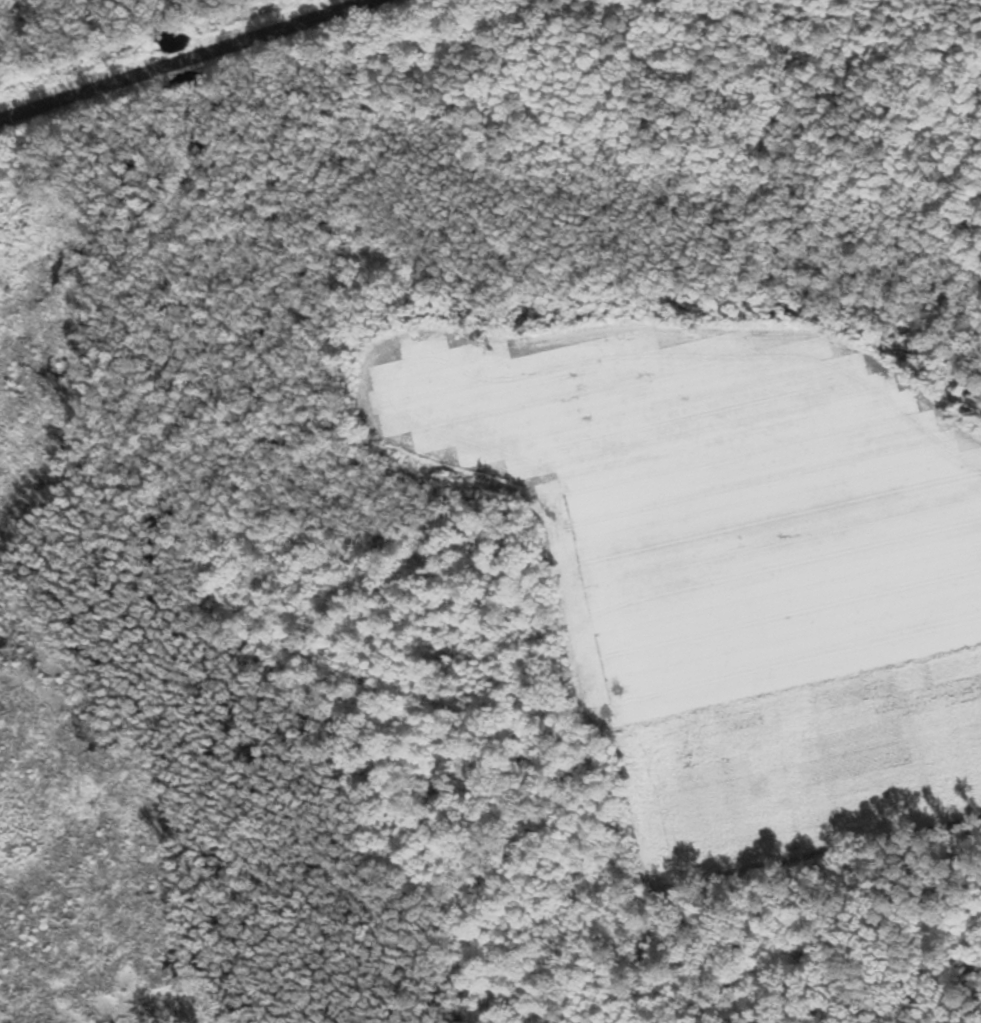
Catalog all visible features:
road: (186, 62)

